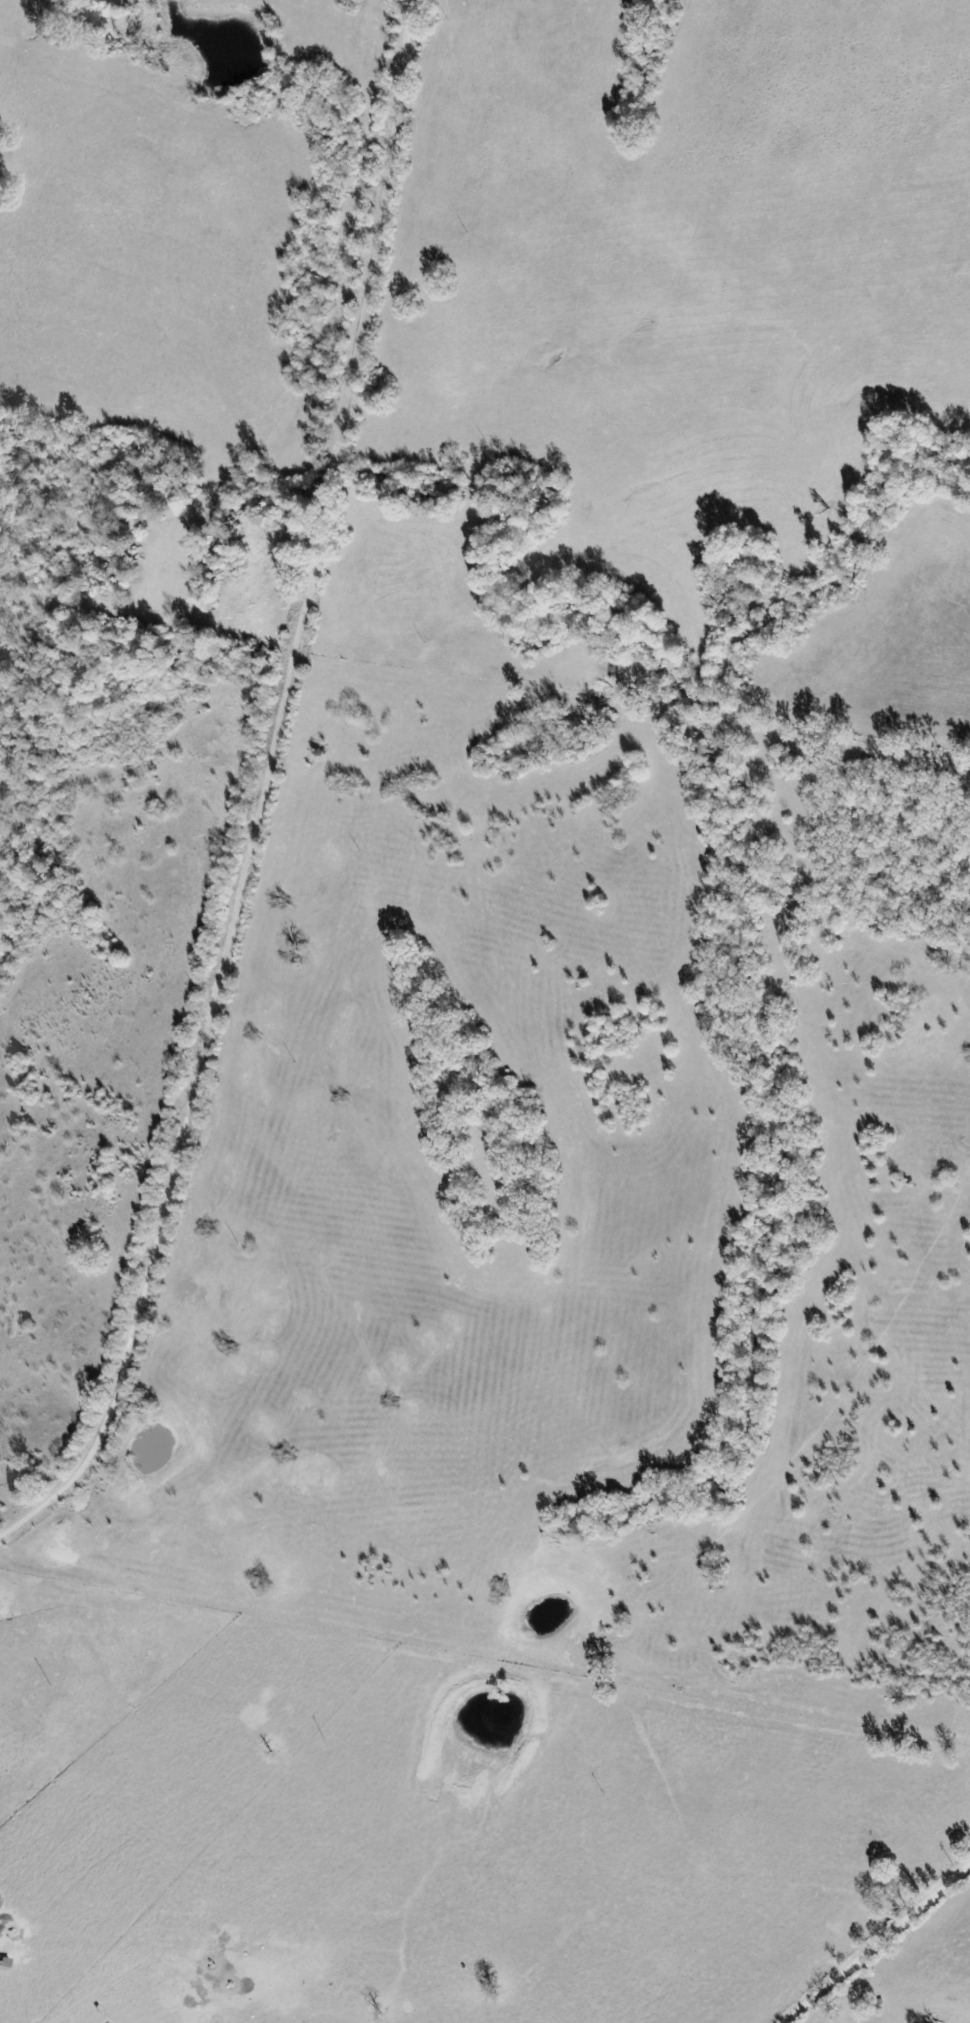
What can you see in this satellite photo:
road: (260, 792)
road: (877, 1942)

